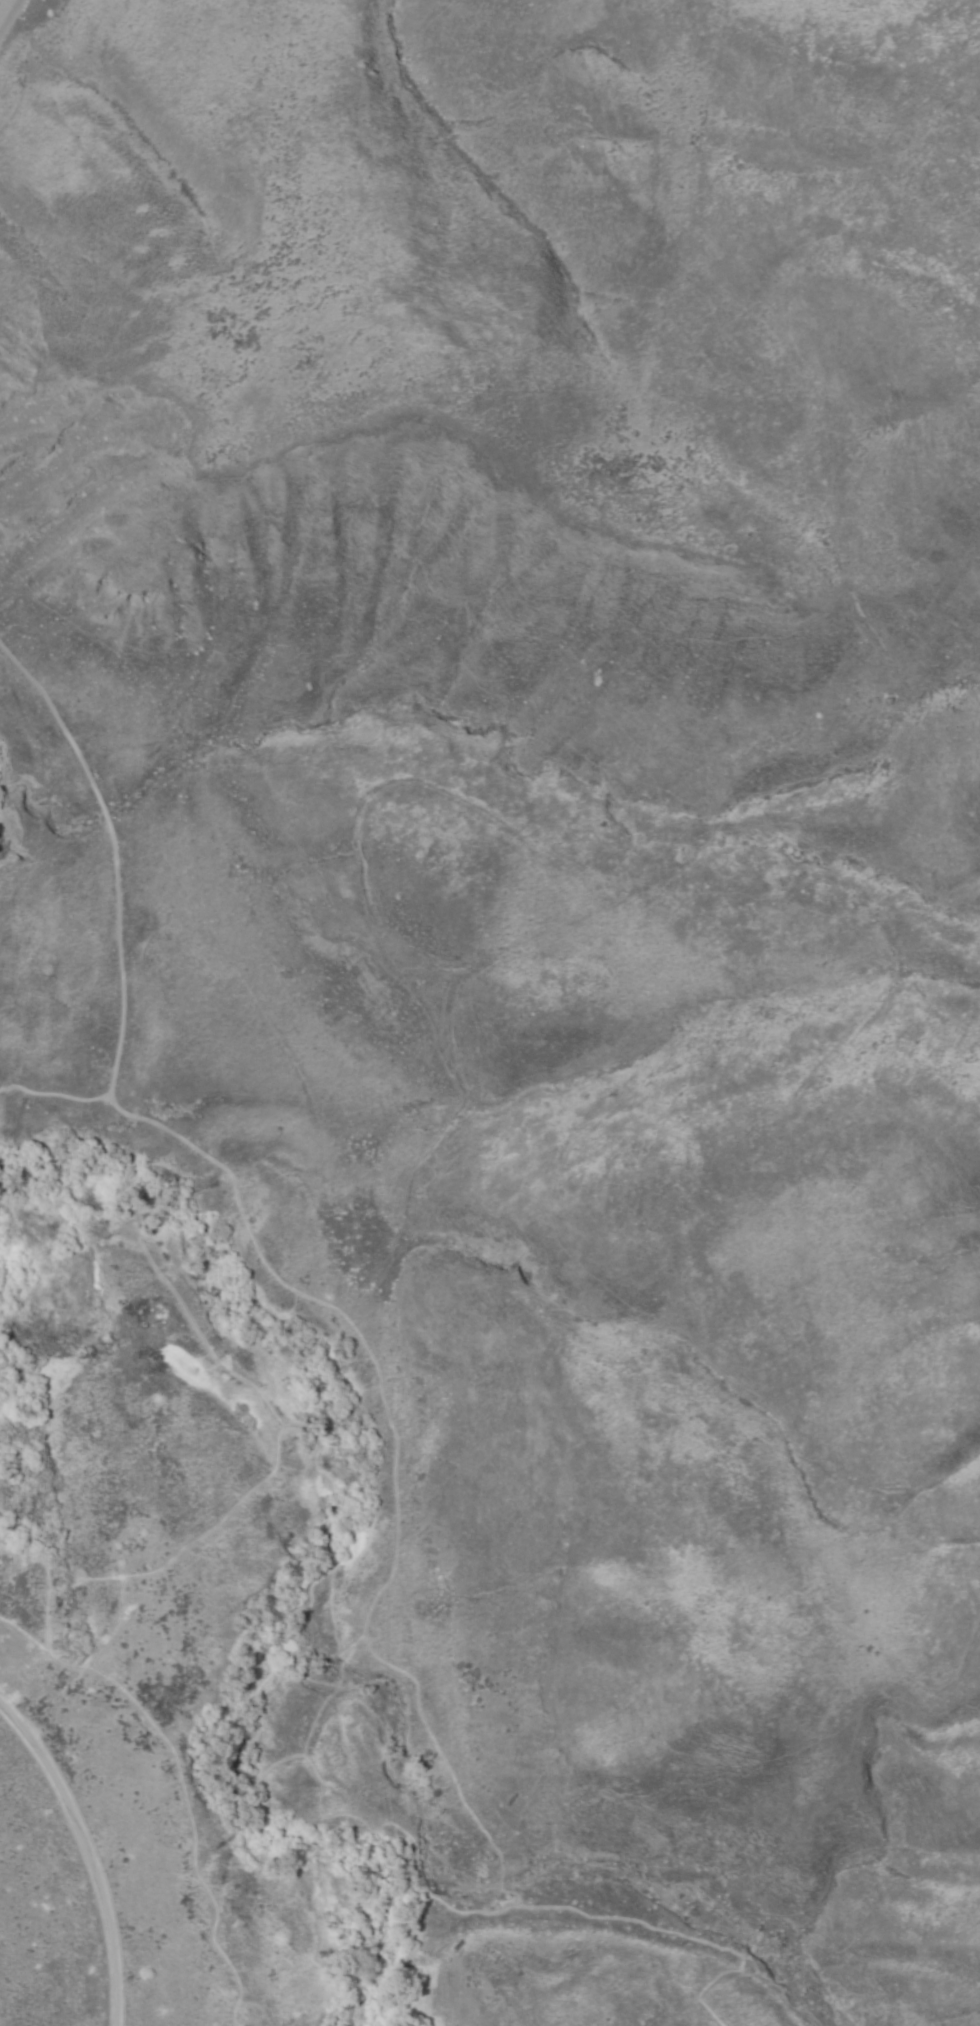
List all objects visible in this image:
parking lot: (5, 8)
road: (11, 20)
road: (56, 1097)
road: (277, 1274)
road: (210, 1350)
road: (327, 1535)
road: (47, 1585)
road: (123, 1589)
road: (281, 1765)
road: (182, 1787)
road: (83, 1862)
road: (525, 1905)
road: (428, 1906)
road: (689, 1938)

